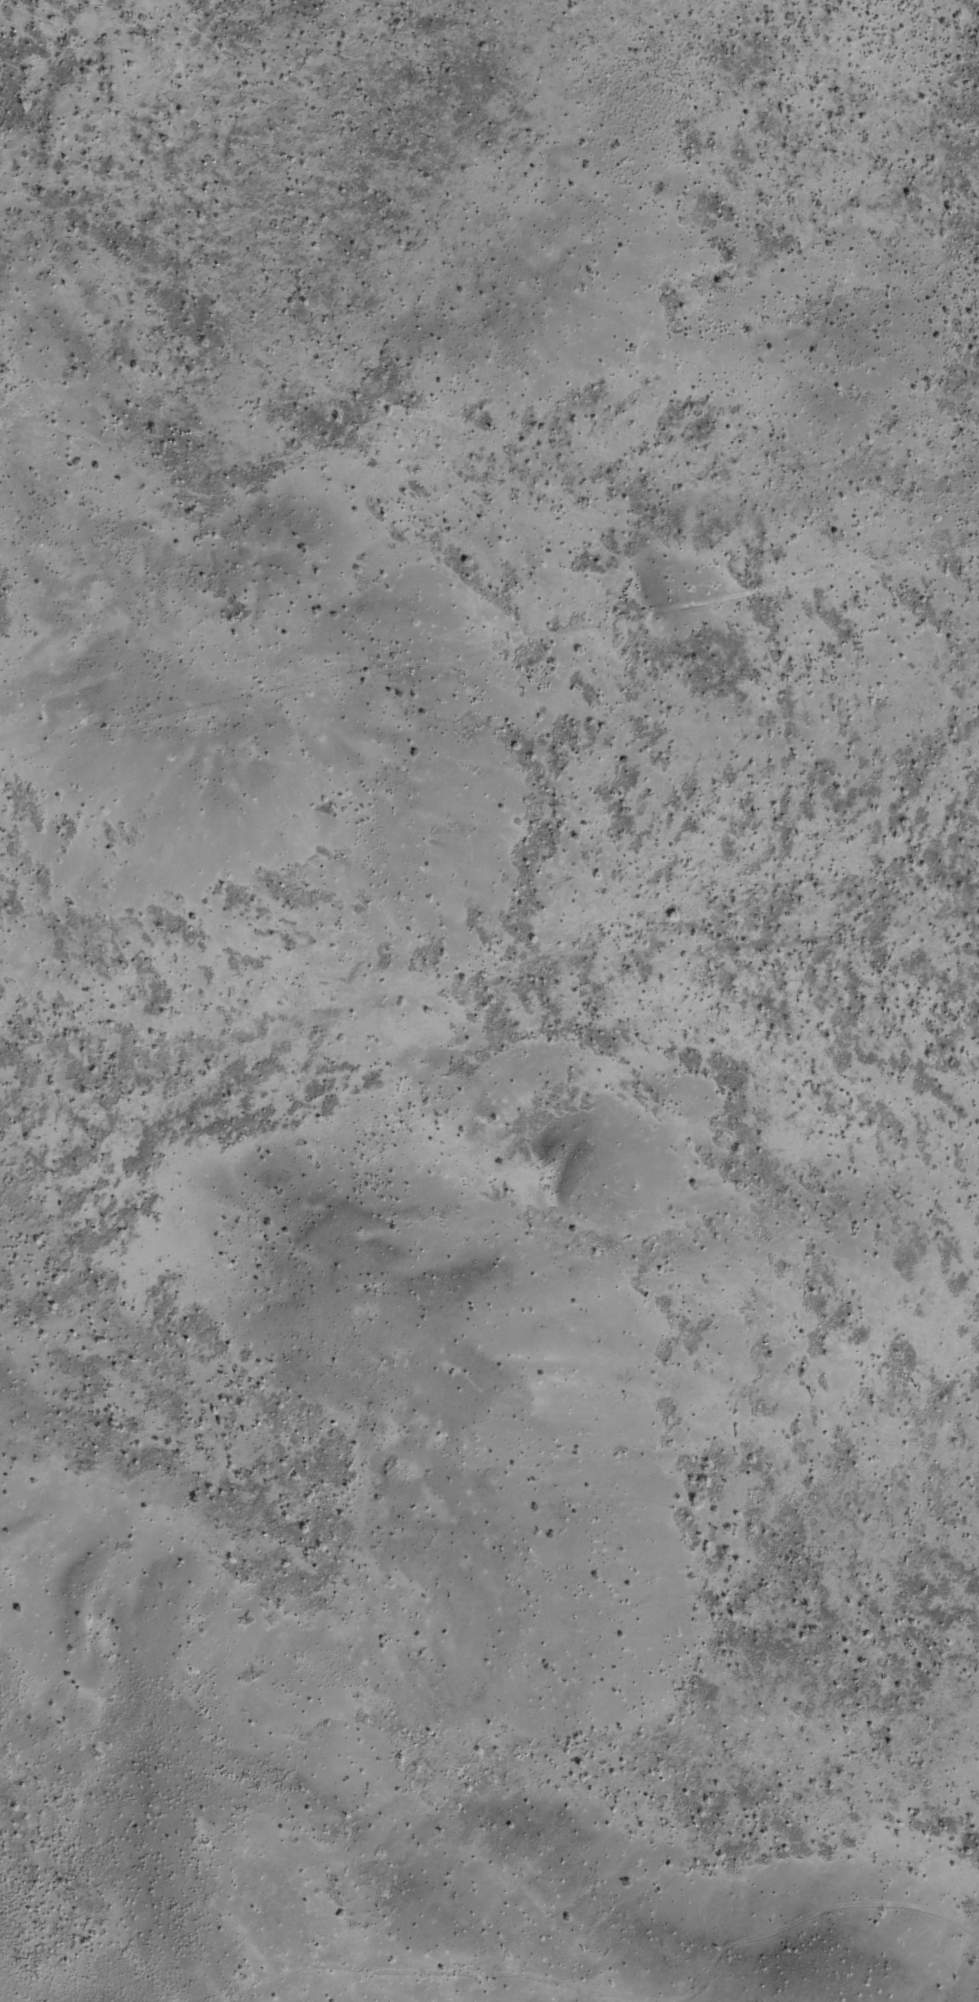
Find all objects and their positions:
road: (141, 68)
road: (863, 1953)
road: (93, 1957)
road: (380, 1985)

